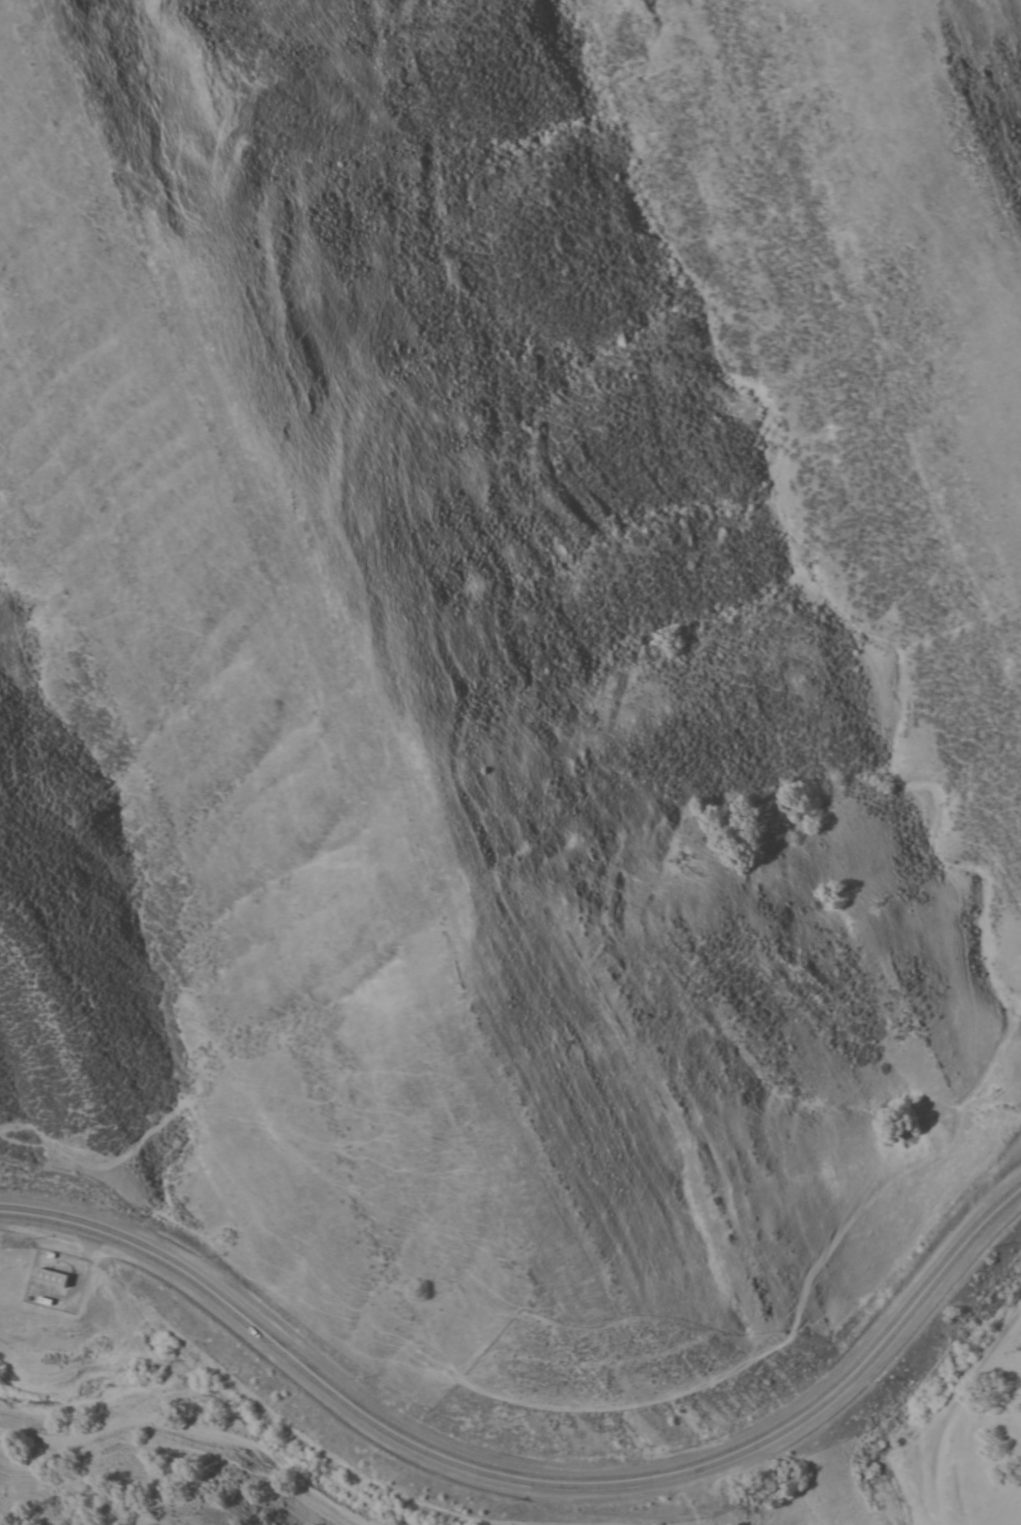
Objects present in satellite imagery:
building: (46, 1276)
building: (40, 1299)
road: (528, 1457)

